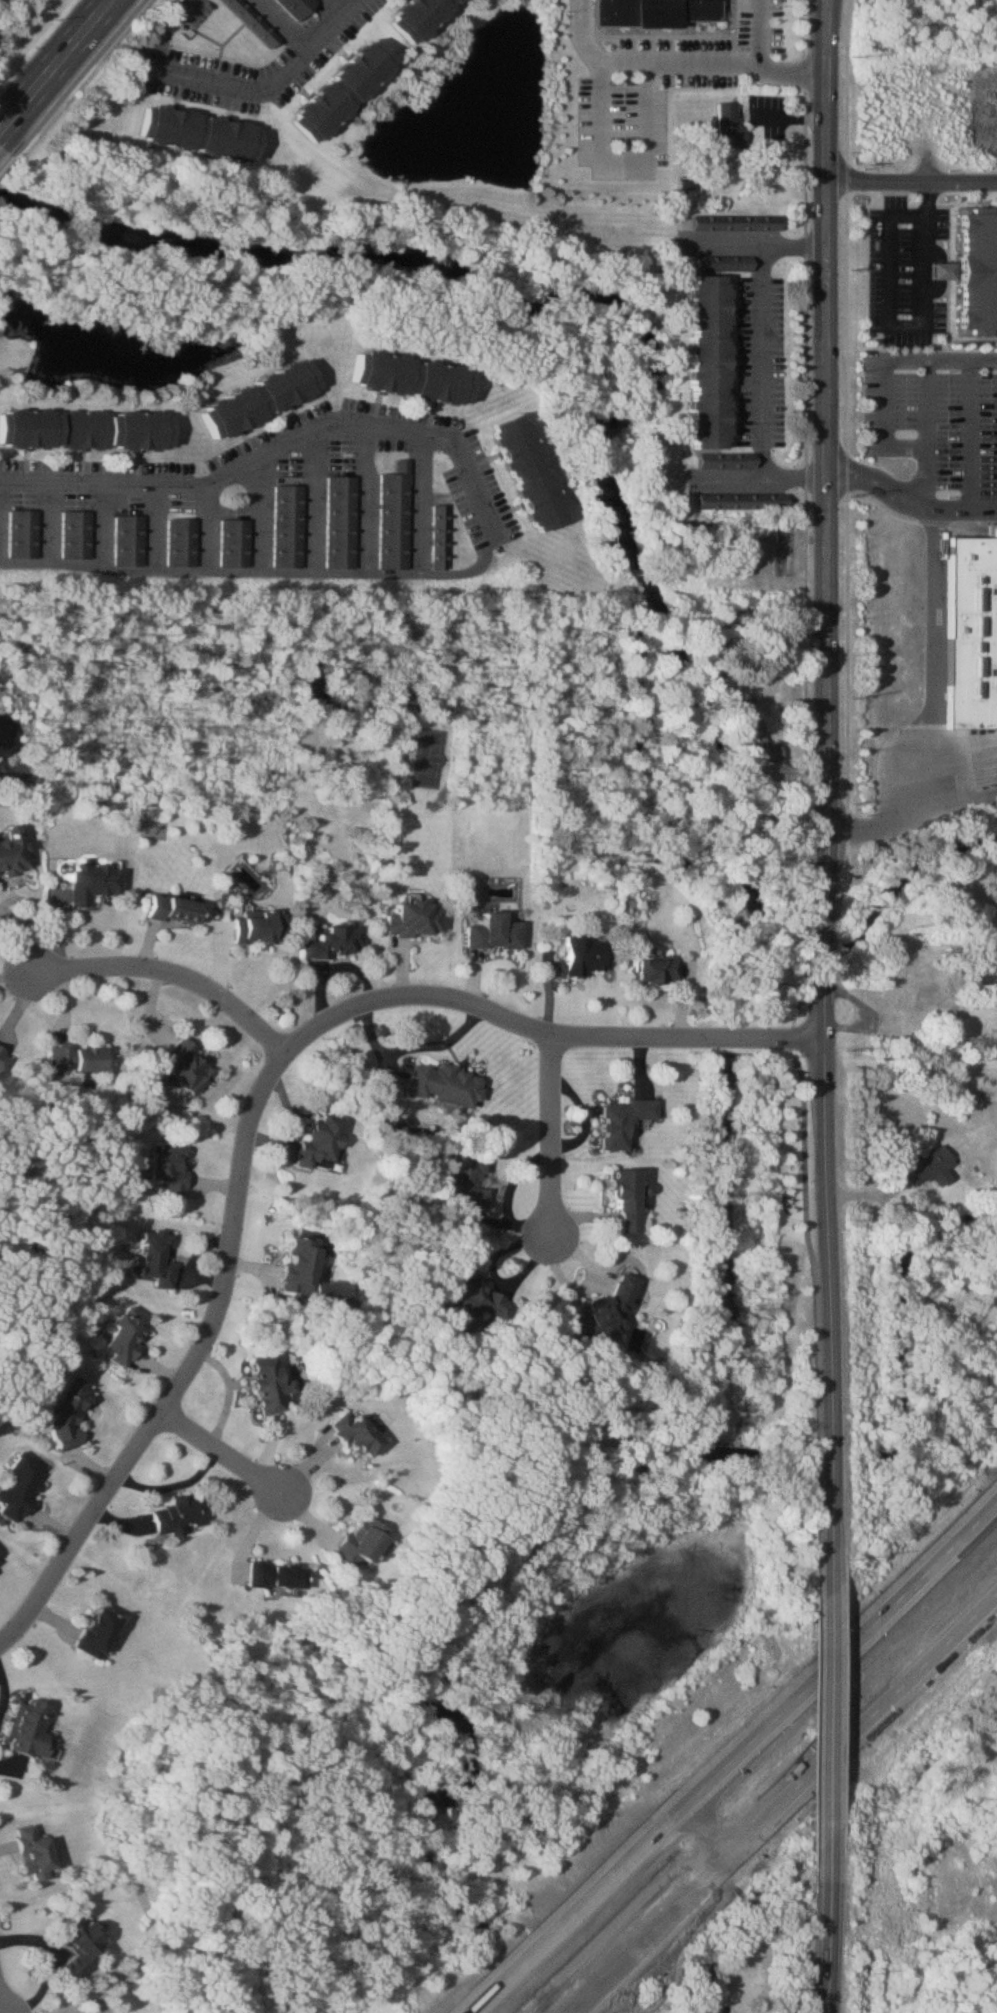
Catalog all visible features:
road: (343, 3)
building: (299, 7)
building: (650, 10)
building: (411, 16)
road: (287, 21)
building: (254, 22)
road: (164, 28)
road: (757, 33)
road: (49, 57)
road: (642, 65)
road: (792, 67)
road: (79, 77)
road: (266, 78)
building: (336, 89)
road: (791, 118)
building: (728, 125)
building: (192, 129)
road: (623, 156)
road: (6, 160)
road: (912, 177)
building: (731, 222)
road: (826, 236)
road: (794, 245)
building: (937, 270)
building: (973, 270)
road: (761, 322)
road: (904, 325)
building: (704, 359)
building: (406, 377)
building: (254, 397)
road: (880, 401)
road: (928, 402)
building: (84, 425)
road: (970, 434)
river: (609, 438)
road: (281, 450)
building: (722, 460)
building: (524, 471)
road: (792, 473)
road: (729, 474)
road: (879, 484)
parking lot: (273, 496)
road: (368, 498)
road: (421, 501)
building: (741, 502)
road: (314, 503)
road: (963, 508)
road: (262, 514)
building: (397, 518)
building: (343, 522)
building: (290, 526)
building: (26, 534)
building: (78, 535)
building: (438, 537)
building: (131, 541)
building: (184, 543)
building: (237, 543)
road: (261, 570)
building: (971, 629)
building: (731, 706)
road: (826, 707)
road: (929, 710)
building: (755, 744)
building: (994, 755)
building: (990, 779)
building: (13, 852)
building: (97, 882)
building: (178, 909)
building: (417, 920)
building: (260, 929)
building: (490, 932)
road: (21, 935)
building: (339, 942)
building: (580, 955)
road: (172, 969)
building: (652, 970)
road: (827, 975)
building: (5, 1057)
building: (81, 1059)
building: (190, 1066)
building: (444, 1085)
road: (261, 1102)
building: (621, 1121)
road: (556, 1133)
building: (317, 1142)
building: (925, 1168)
building: (174, 1169)
building: (463, 1180)
building: (624, 1199)
road: (825, 1211)
building: (159, 1259)
building: (305, 1275)
building: (472, 1297)
building: (602, 1310)
building: (128, 1336)
building: (267, 1385)
road: (234, 1395)
building: (73, 1413)
building: (356, 1435)
road: (225, 1455)
road: (823, 1464)
road: (177, 1483)
building: (25, 1488)
building: (183, 1515)
river: (546, 1523)
building: (354, 1544)
road: (938, 1558)
building: (1, 1559)
road: (822, 1572)
building: (276, 1576)
building: (94, 1631)
road: (911, 1680)
road: (9, 1690)
building: (26, 1730)
road: (822, 1732)
road: (717, 1768)
road: (7, 1769)
road: (708, 1826)
building: (28, 1852)
road: (705, 1877)
road: (823, 1923)
building: (75, 1948)
road: (49, 1960)
road: (516, 1960)
road: (5, 1991)
road: (574, 2003)
road: (468, 2006)

